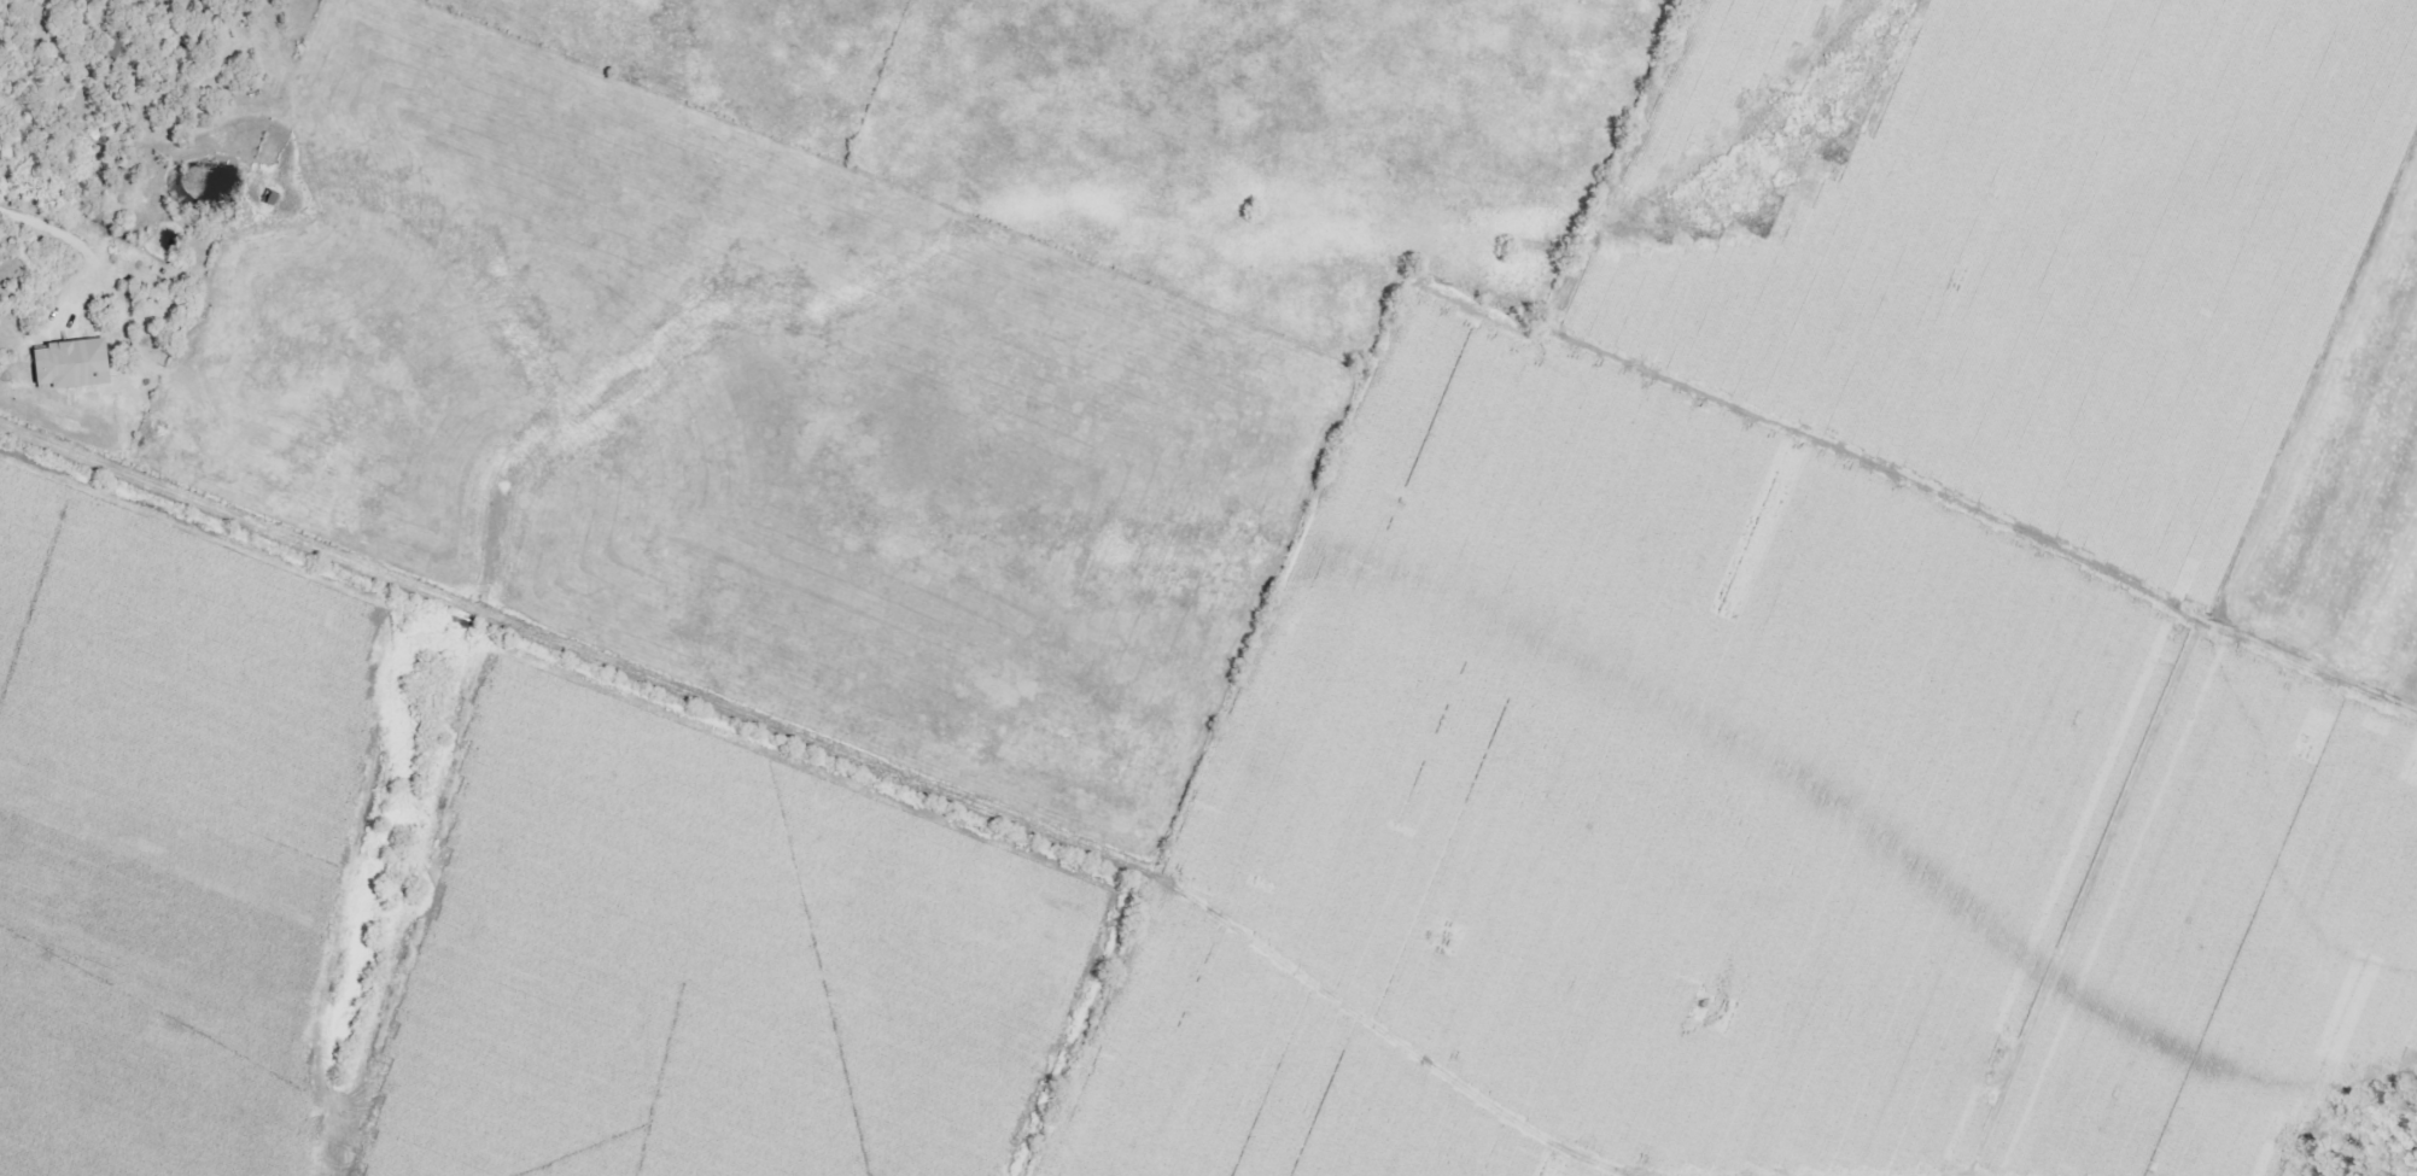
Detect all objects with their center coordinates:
road: (53, 228)
building: (65, 364)
road: (2189, 649)

